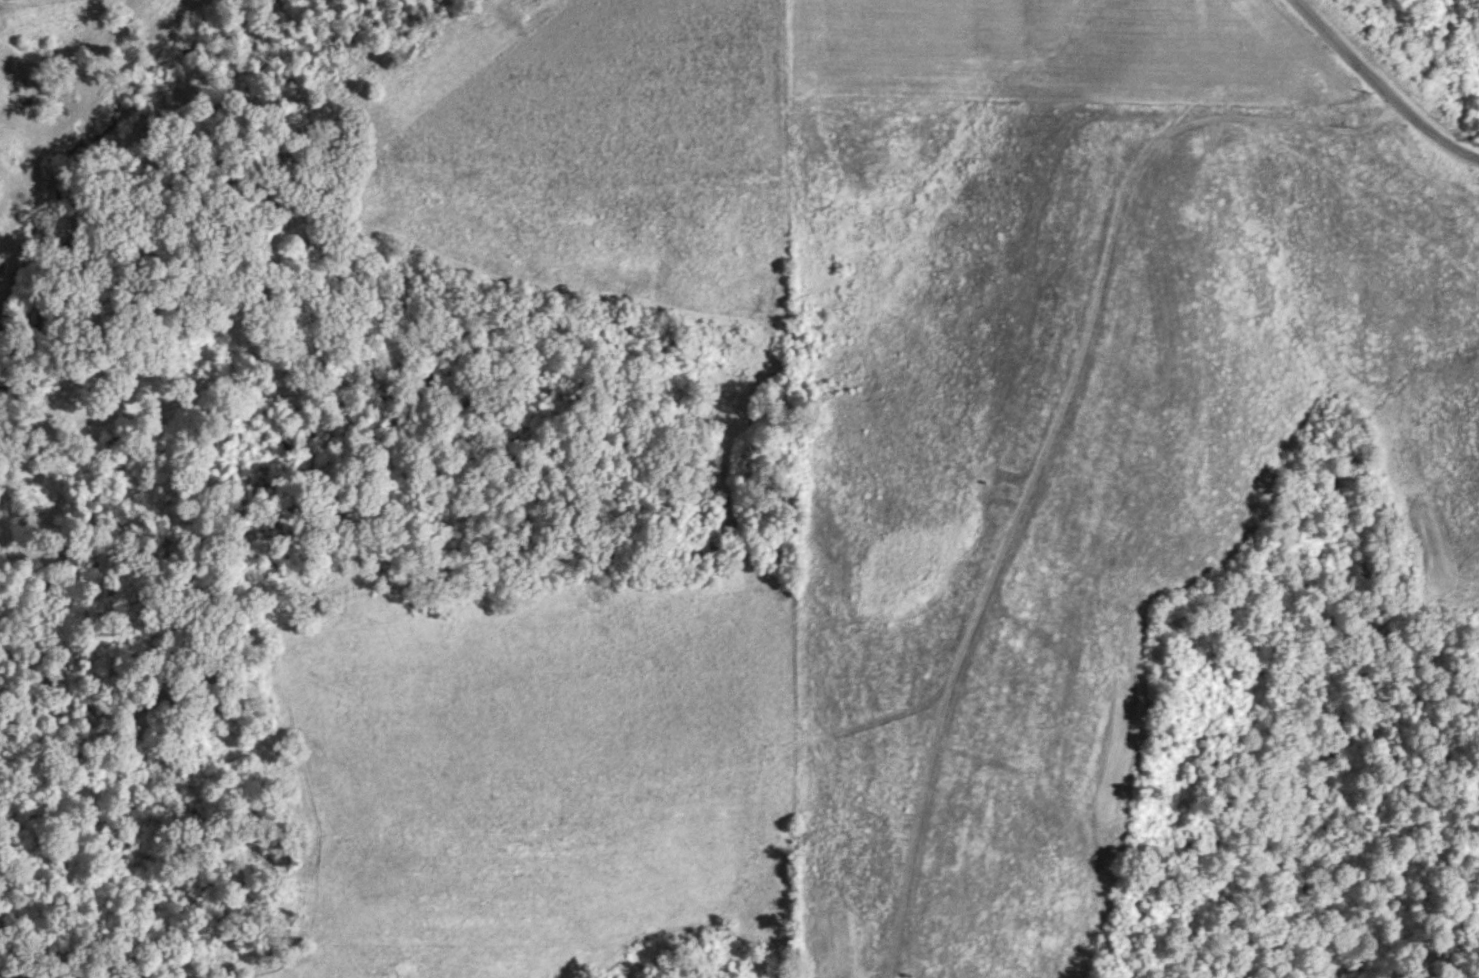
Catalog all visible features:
road: (1380, 88)
building: (179, 302)

